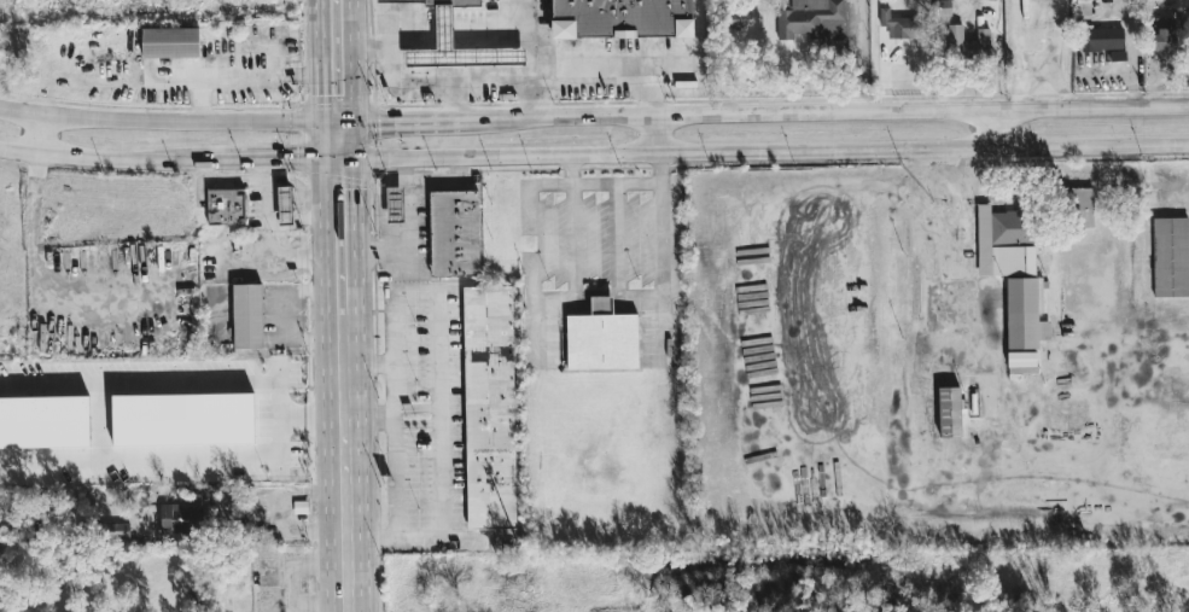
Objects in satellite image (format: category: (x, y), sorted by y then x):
building: (622, 18)
building: (740, 19)
building: (815, 19)
road: (1130, 23)
building: (899, 25)
building: (444, 27)
road: (457, 35)
road: (1054, 35)
building: (1165, 36)
building: (1102, 39)
road: (534, 40)
building: (968, 41)
building: (170, 42)
road: (1019, 54)
building: (1118, 54)
road: (337, 63)
road: (1056, 72)
road: (502, 81)
traffic signals: (338, 94)
road: (537, 100)
road: (451, 103)
road: (827, 113)
road: (402, 123)
traffic signals: (380, 124)
road: (169, 126)
road: (996, 128)
road: (40, 135)
road: (653, 136)
road: (340, 142)
road: (764, 152)
road: (104, 159)
road: (275, 161)
traffic signals: (301, 161)
road: (611, 180)
road: (549, 182)
traffic signals: (343, 191)
building: (285, 204)
building: (396, 205)
building: (226, 206)
building: (1083, 208)
building: (455, 233)
road: (540, 234)
road: (661, 234)
road: (343, 237)
building: (1167, 260)
road: (40, 273)
building: (1008, 285)
road: (600, 292)
building: (247, 315)
road: (538, 326)
building: (608, 338)
road: (409, 349)
road: (157, 385)
road: (451, 398)
building: (496, 408)
building: (949, 412)
building: (182, 420)
road: (311, 420)
building: (42, 421)
road: (155, 456)
road: (345, 464)
road: (878, 477)
building: (177, 519)
road: (253, 536)
road: (431, 538)
road: (290, 587)
road: (291, 610)

